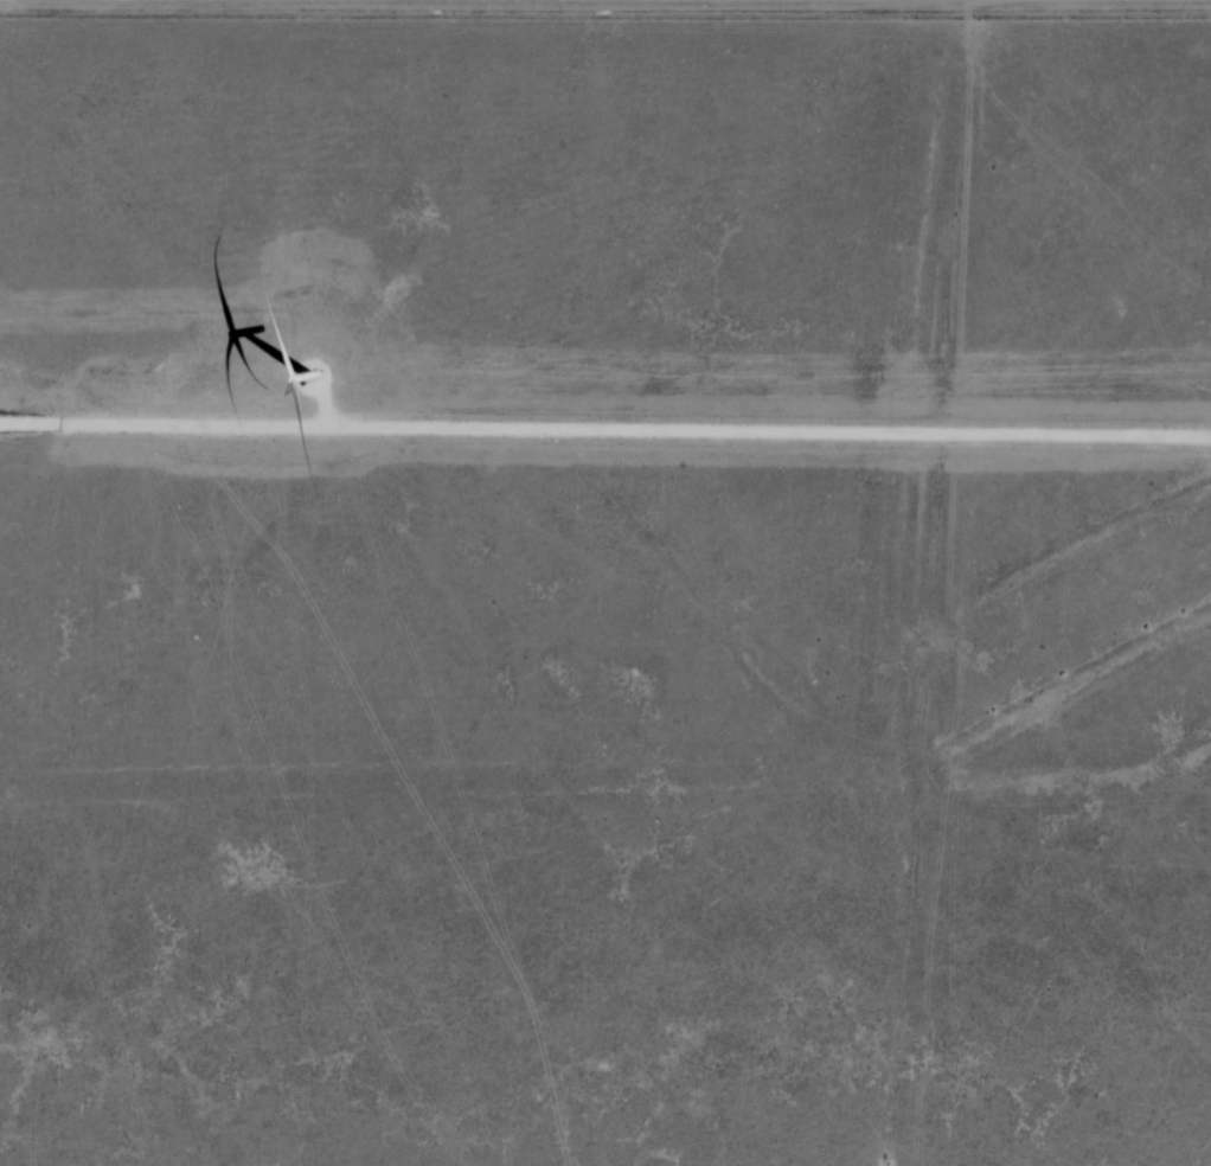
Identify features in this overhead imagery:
wind turbine: (310, 372)

